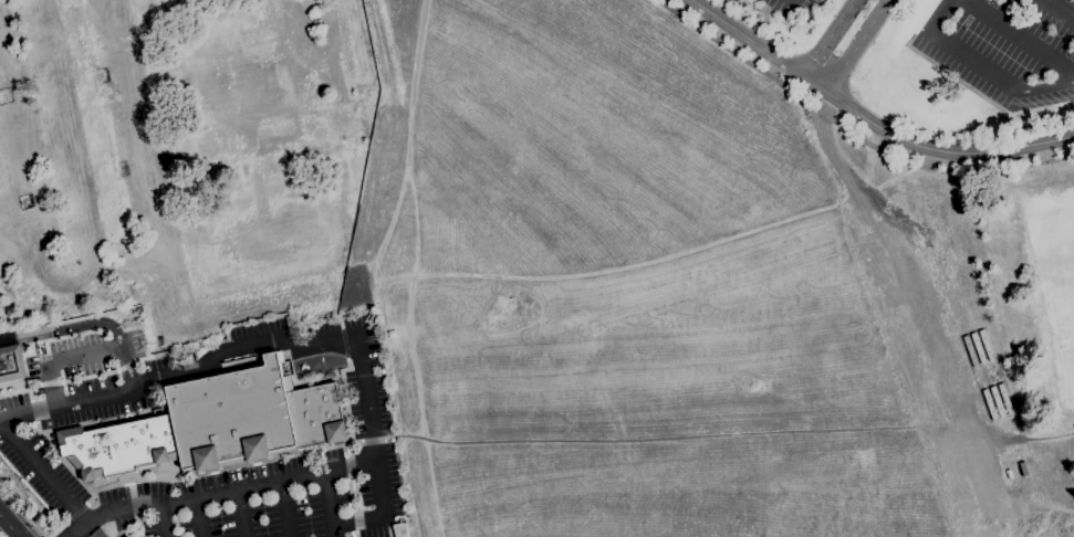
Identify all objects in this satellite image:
parking lot: (790, 6)
road: (1057, 10)
road: (826, 36)
road: (1016, 38)
road: (856, 45)
parking lot: (1007, 50)
road: (953, 52)
building: (208, 75)
road: (1045, 87)
road: (867, 119)
road: (849, 131)
building: (345, 133)
road: (841, 167)
building: (257, 230)
road: (156, 242)
road: (90, 262)
road: (124, 263)
road: (592, 271)
park: (1053, 278)
road: (888, 327)
road: (66, 328)
road: (342, 329)
flagpole: (12, 351)
road: (84, 354)
building: (11, 362)
road: (180, 370)
road: (365, 401)
building: (213, 424)
road: (383, 438)
road: (734, 438)
road: (42, 472)
road: (217, 489)
parking lot: (283, 493)
road: (327, 503)
road: (283, 507)
road: (21, 512)
road: (240, 512)
road: (379, 514)
road: (195, 516)
road: (160, 518)
road: (10, 524)
building: (127, 536)

